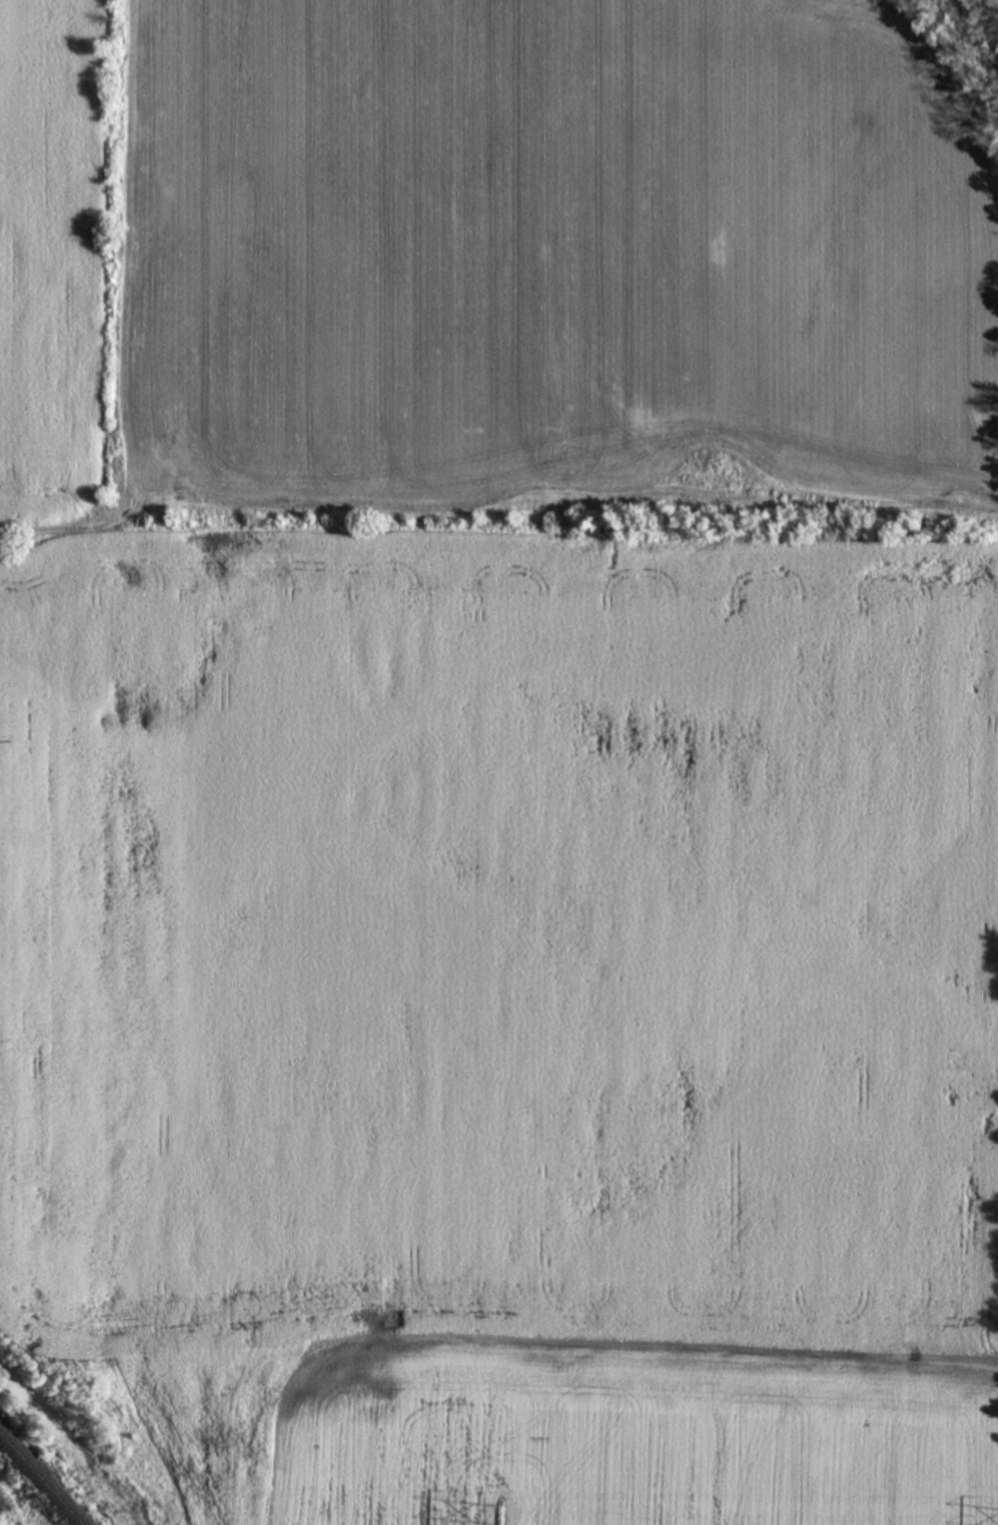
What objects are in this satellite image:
railway: (38, 1480)
power tower: (495, 1517)

